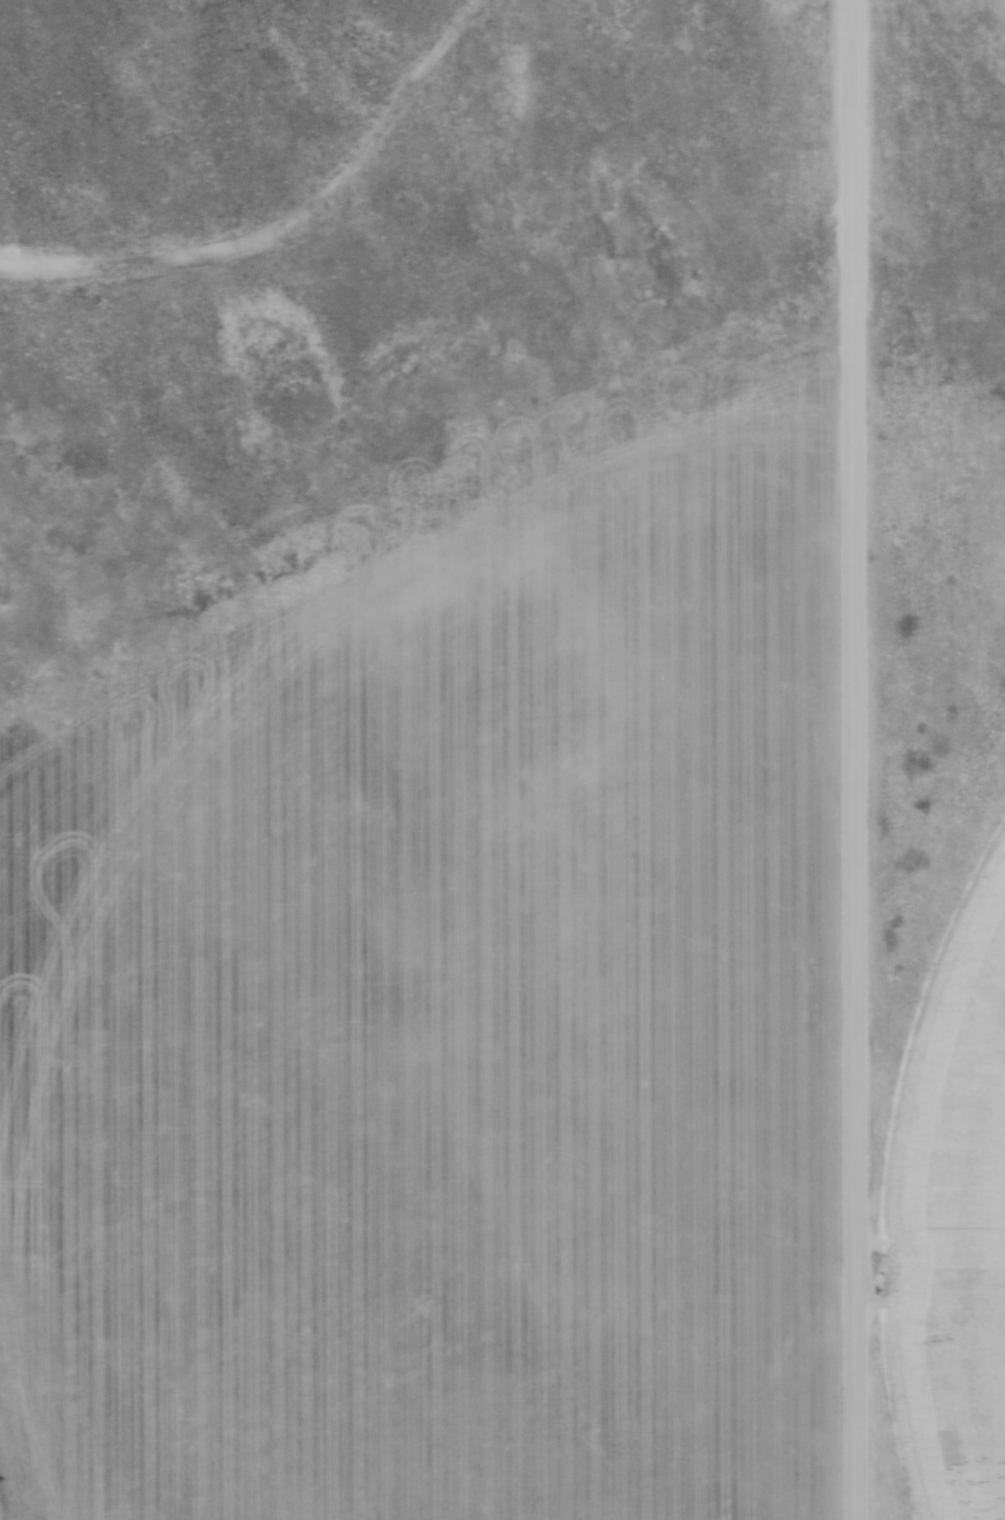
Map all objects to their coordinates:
road: (854, 759)
crop: (449, 1068)
crop: (954, 1223)

